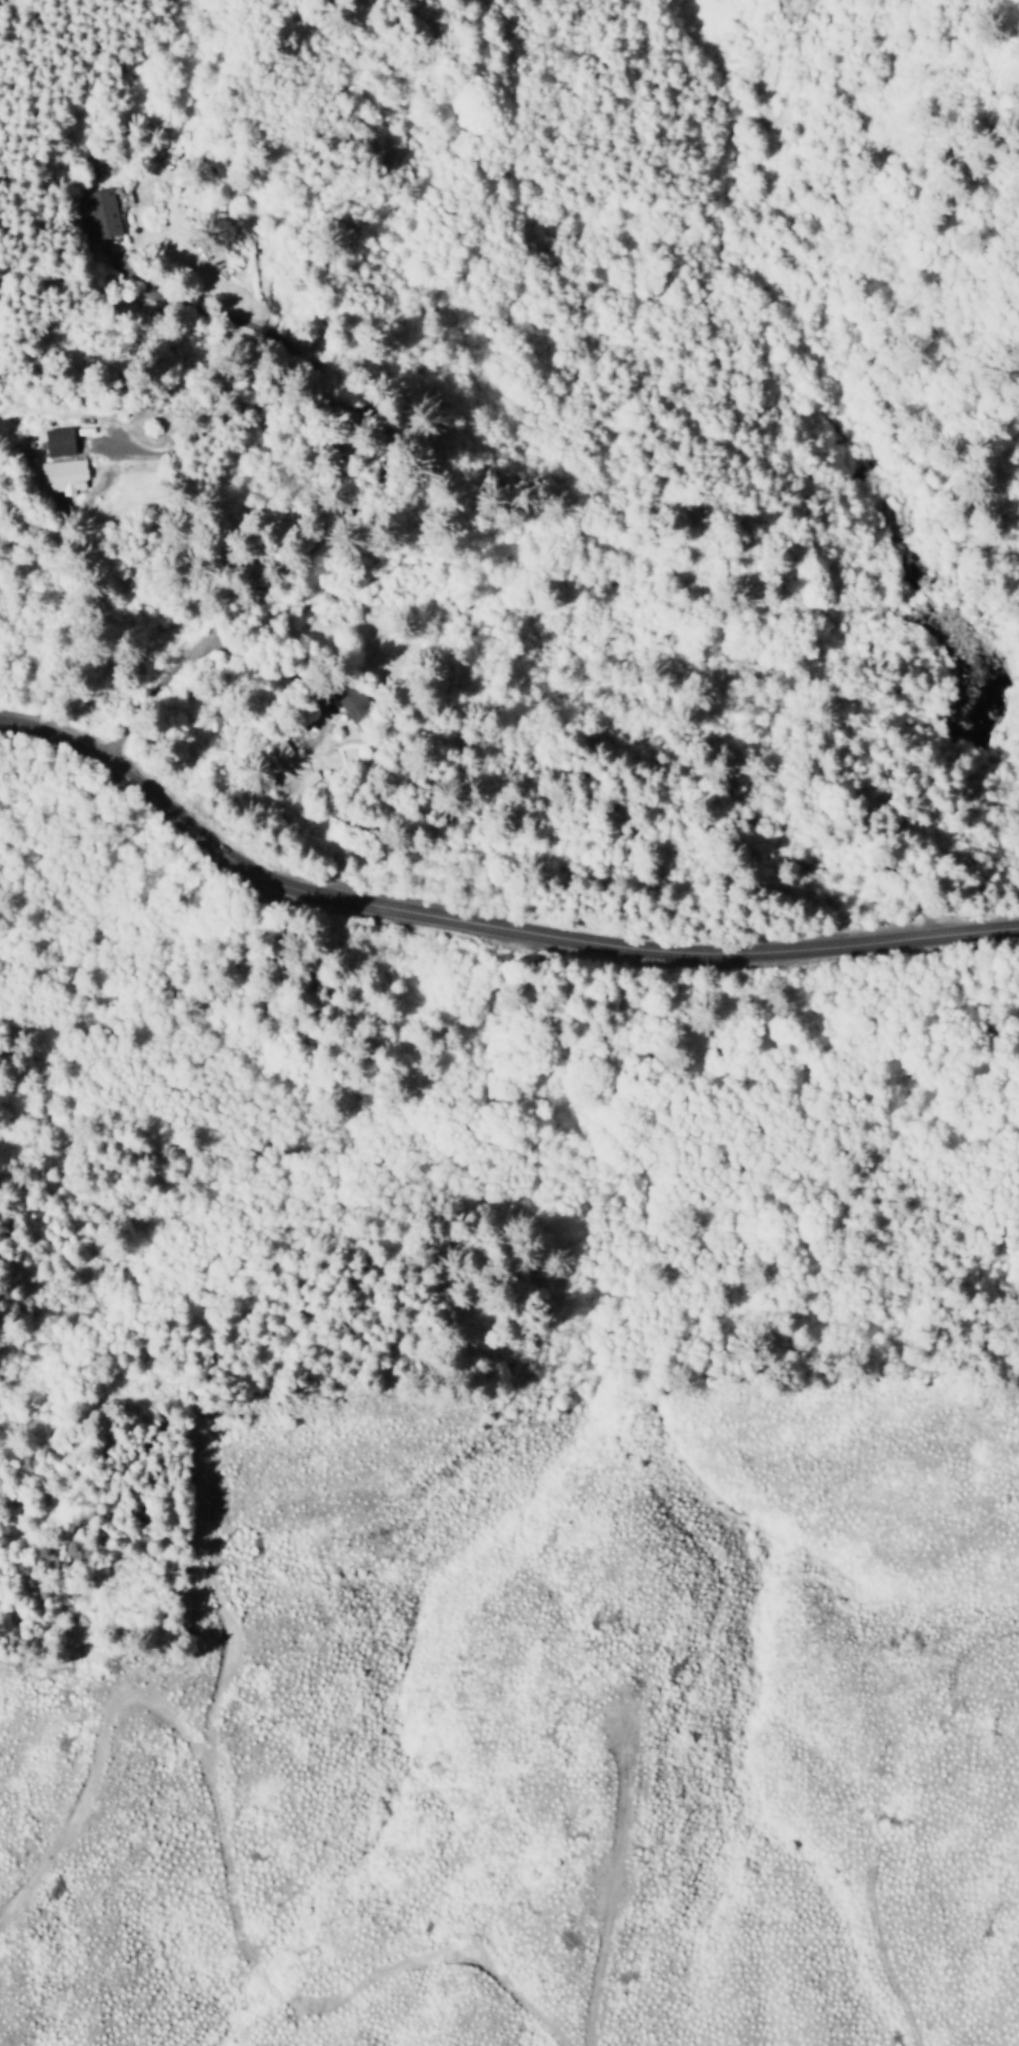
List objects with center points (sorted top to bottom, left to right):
building: (100, 209)
building: (59, 441)
building: (56, 479)
road: (485, 927)

